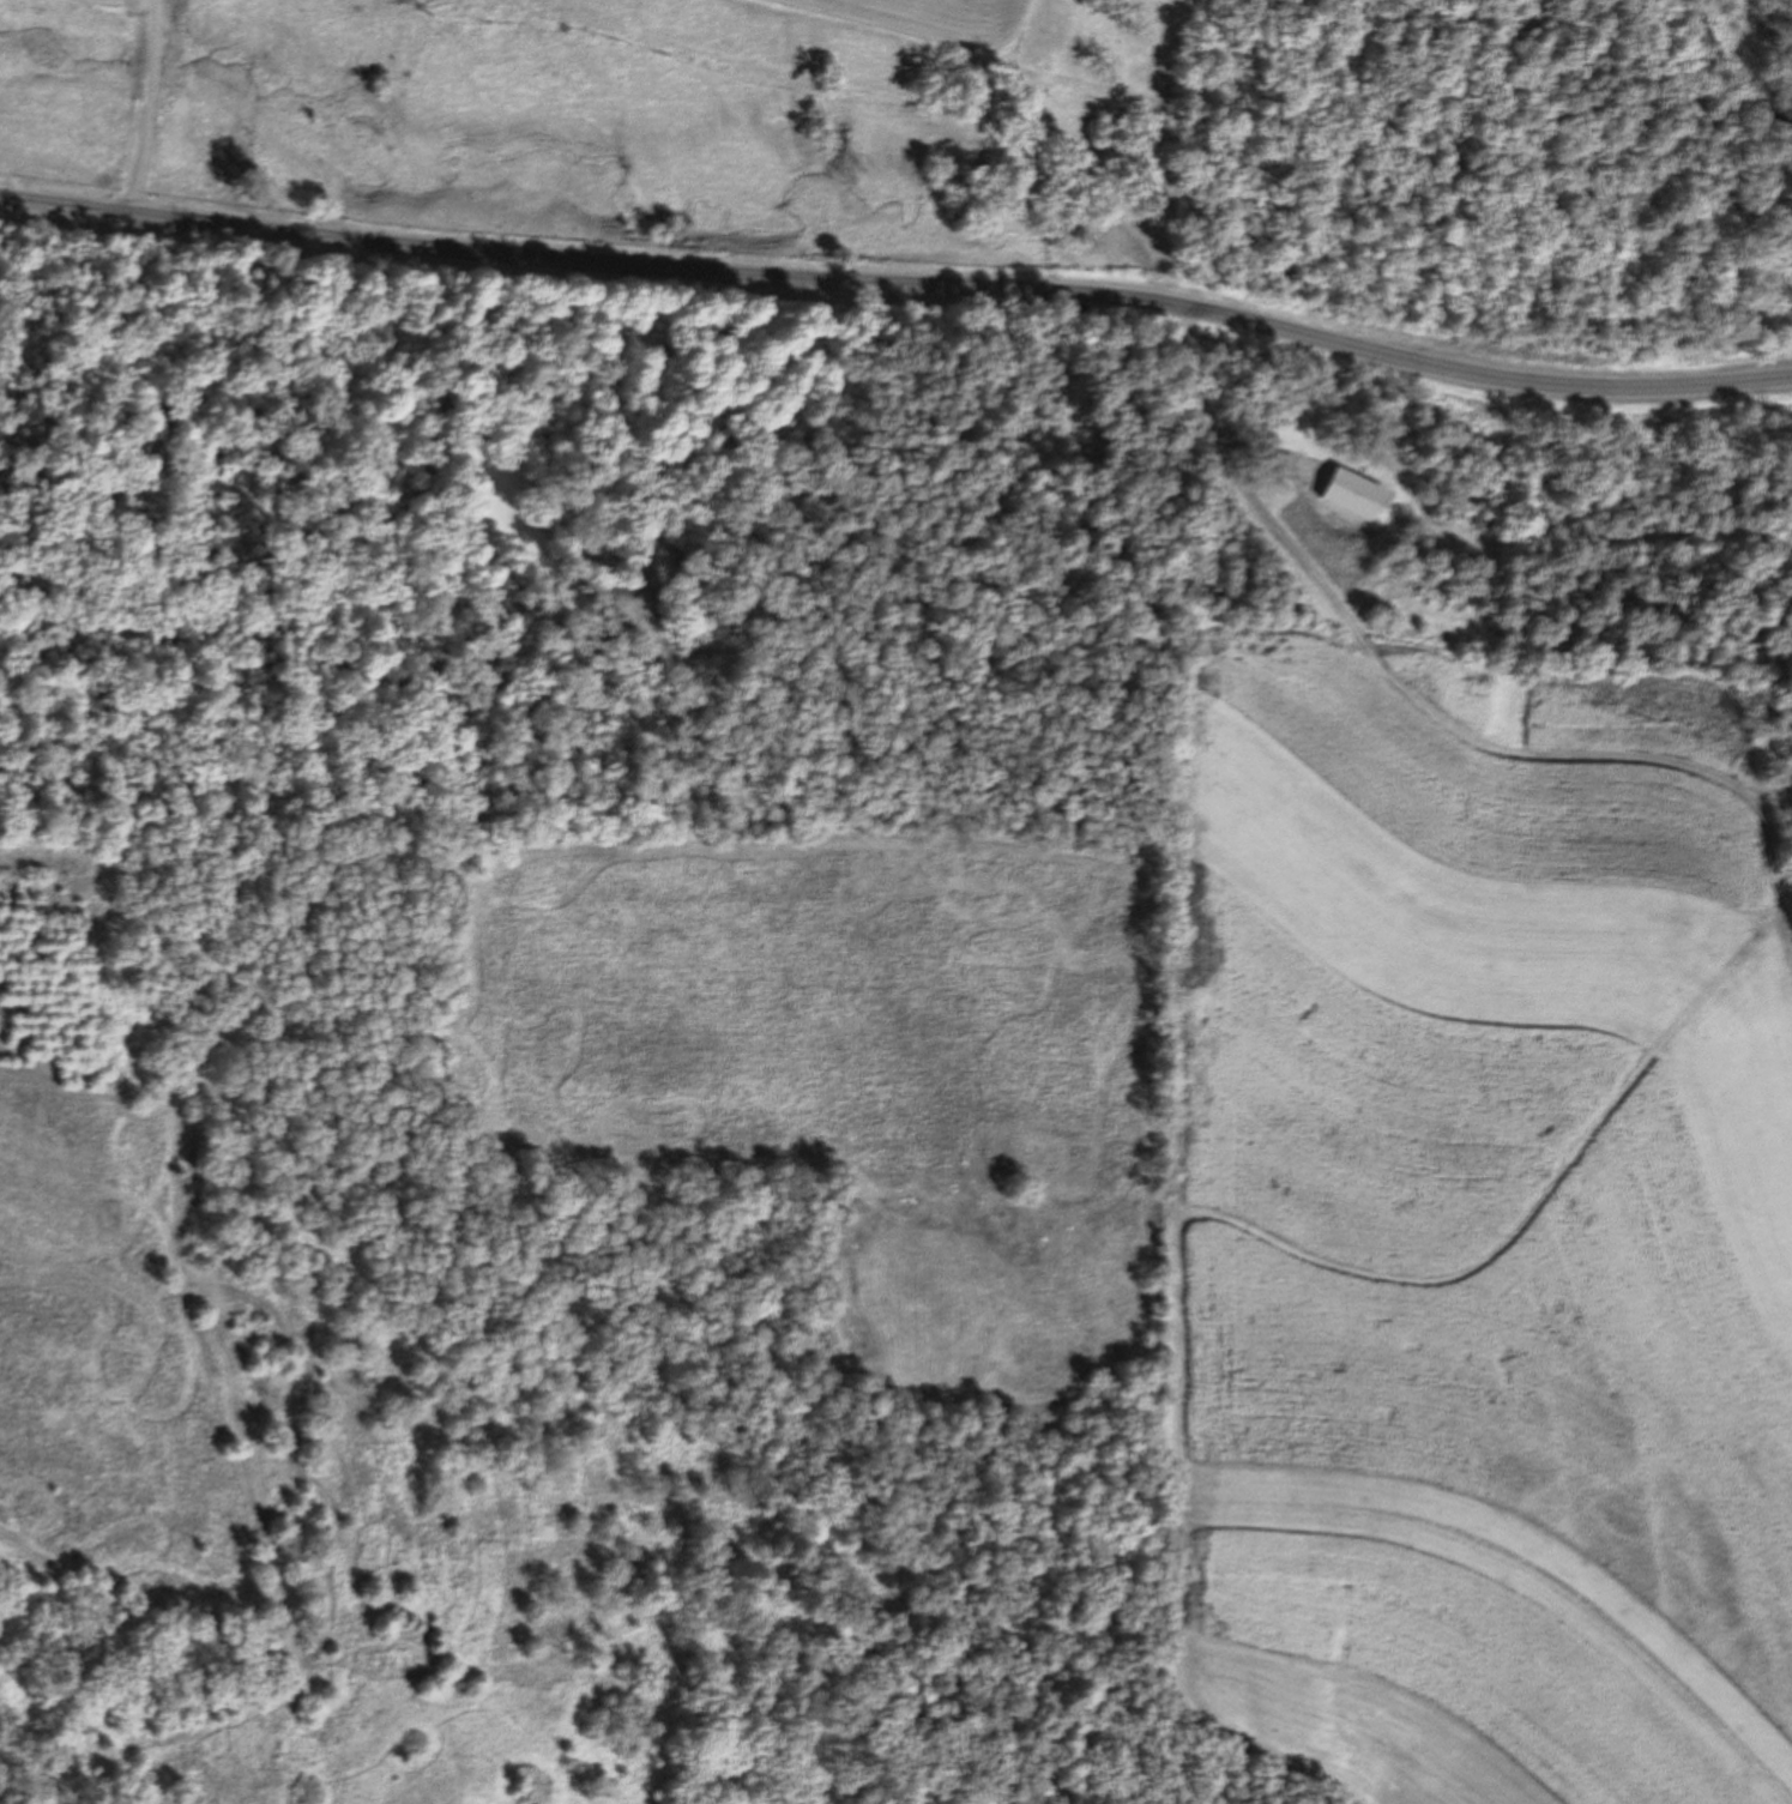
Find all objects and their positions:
road: (157, 110)
road: (898, 279)

